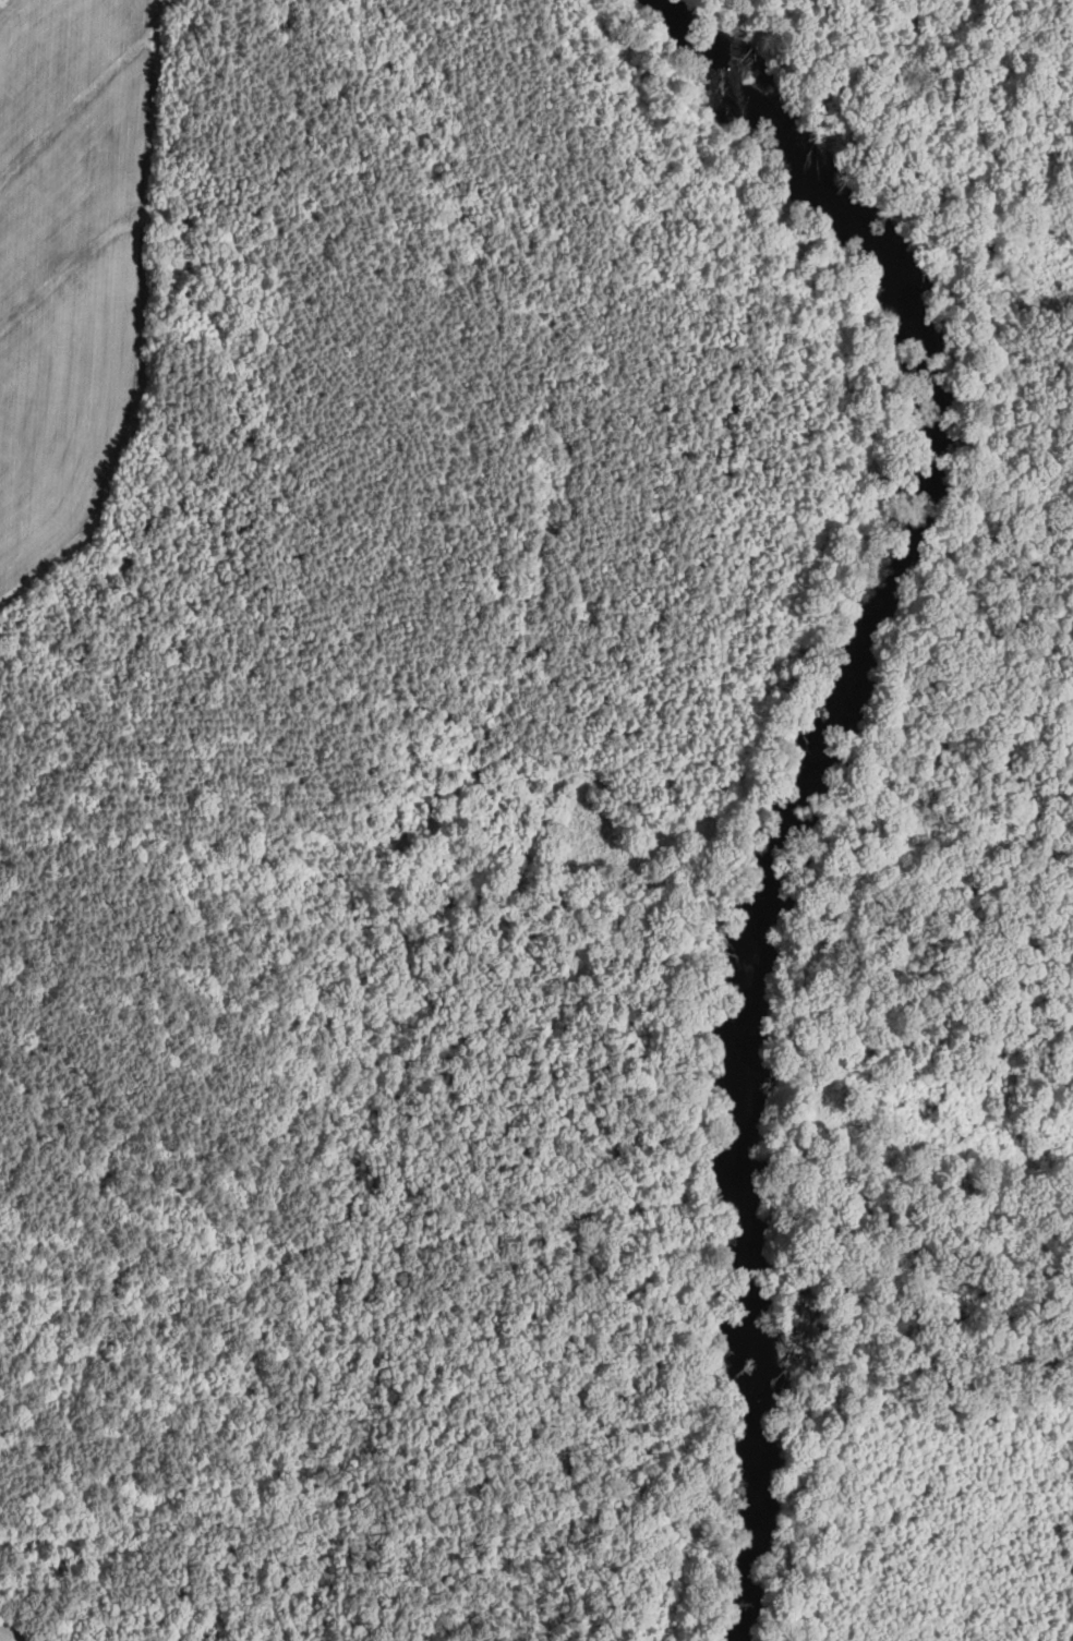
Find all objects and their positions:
river: (873, 613)
river: (747, 1474)

